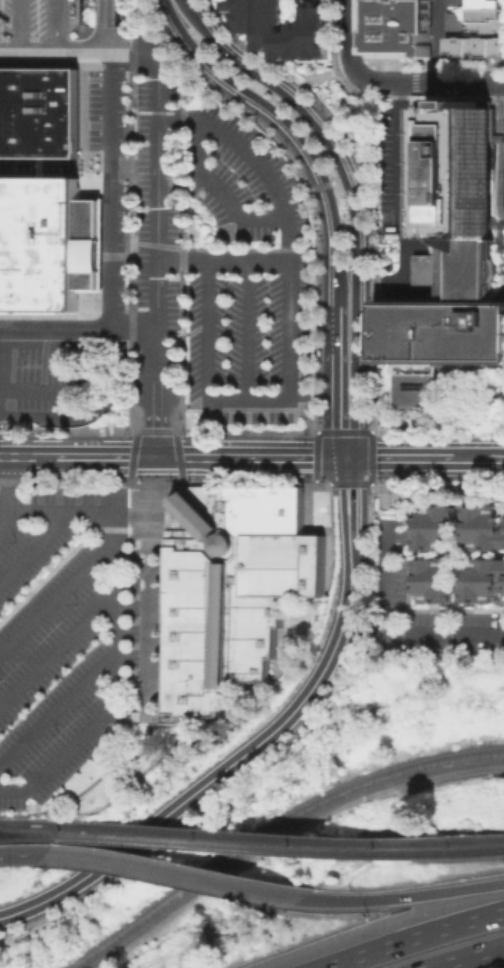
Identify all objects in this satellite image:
building: (322, 0)
building: (458, 3)
road: (121, 11)
building: (489, 16)
road: (134, 18)
building: (458, 23)
road: (19, 26)
road: (55, 26)
building: (399, 27)
building: (280, 29)
building: (61, 33)
parking lot: (61, 33)
road: (349, 39)
road: (439, 41)
building: (477, 48)
road: (226, 52)
road: (139, 53)
road: (203, 62)
road: (316, 78)
road: (430, 82)
road: (184, 86)
building: (38, 110)
road: (112, 134)
road: (365, 134)
road: (219, 189)
road: (326, 193)
road: (404, 209)
road: (286, 221)
building: (46, 241)
parking lot: (209, 242)
road: (131, 249)
road: (312, 249)
road: (224, 261)
road: (358, 261)
road: (157, 263)
building: (452, 272)
road: (337, 326)
road: (78, 328)
road: (206, 331)
road: (247, 331)
road: (97, 364)
parking lot: (35, 377)
road: (247, 402)
road: (181, 405)
road: (337, 405)
road: (86, 412)
road: (303, 415)
road: (166, 430)
road: (134, 446)
road: (369, 449)
road: (317, 454)
road: (24, 456)
road: (102, 456)
road: (178, 456)
traffic signals: (157, 457)
road: (193, 457)
road: (289, 457)
traffic signals: (349, 457)
road: (401, 458)
road: (479, 458)
road: (64, 481)
road: (314, 481)
road: (156, 482)
road: (328, 483)
road: (371, 484)
road: (7, 494)
road: (350, 497)
road: (459, 519)
building: (435, 525)
building: (483, 526)
road: (37, 542)
road: (449, 546)
road: (429, 553)
road: (486, 553)
road: (351, 554)
road: (69, 557)
building: (459, 558)
road: (387, 575)
building: (435, 578)
building: (482, 578)
road: (459, 585)
road: (327, 586)
building: (229, 590)
road: (58, 595)
road: (149, 599)
road: (409, 601)
parking lot: (440, 617)
road: (116, 620)
road: (422, 633)
parking lot: (64, 638)
road: (58, 648)
road: (58, 707)
road: (132, 715)
road: (307, 717)
road: (215, 777)
road: (91, 784)
railway: (38, 823)
railway: (270, 827)
railway: (32, 833)
road: (280, 833)
railway: (245, 835)
railway: (118, 837)
railway: (459, 839)
railway: (292, 848)
railway: (460, 850)
road: (21, 853)
road: (174, 872)
road: (404, 895)
road: (412, 936)
road: (464, 955)

